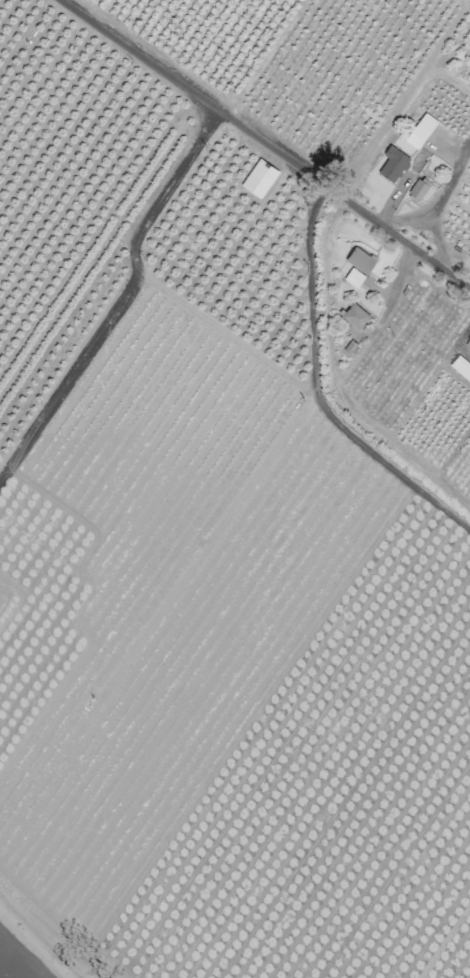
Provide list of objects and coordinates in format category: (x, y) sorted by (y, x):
building: (420, 130)
road: (268, 142)
building: (393, 167)
building: (259, 178)
building: (417, 189)
road: (439, 207)
road: (406, 222)
building: (360, 260)
building: (353, 277)
road: (125, 303)
building: (354, 316)
building: (468, 343)
building: (460, 368)
road: (316, 392)

